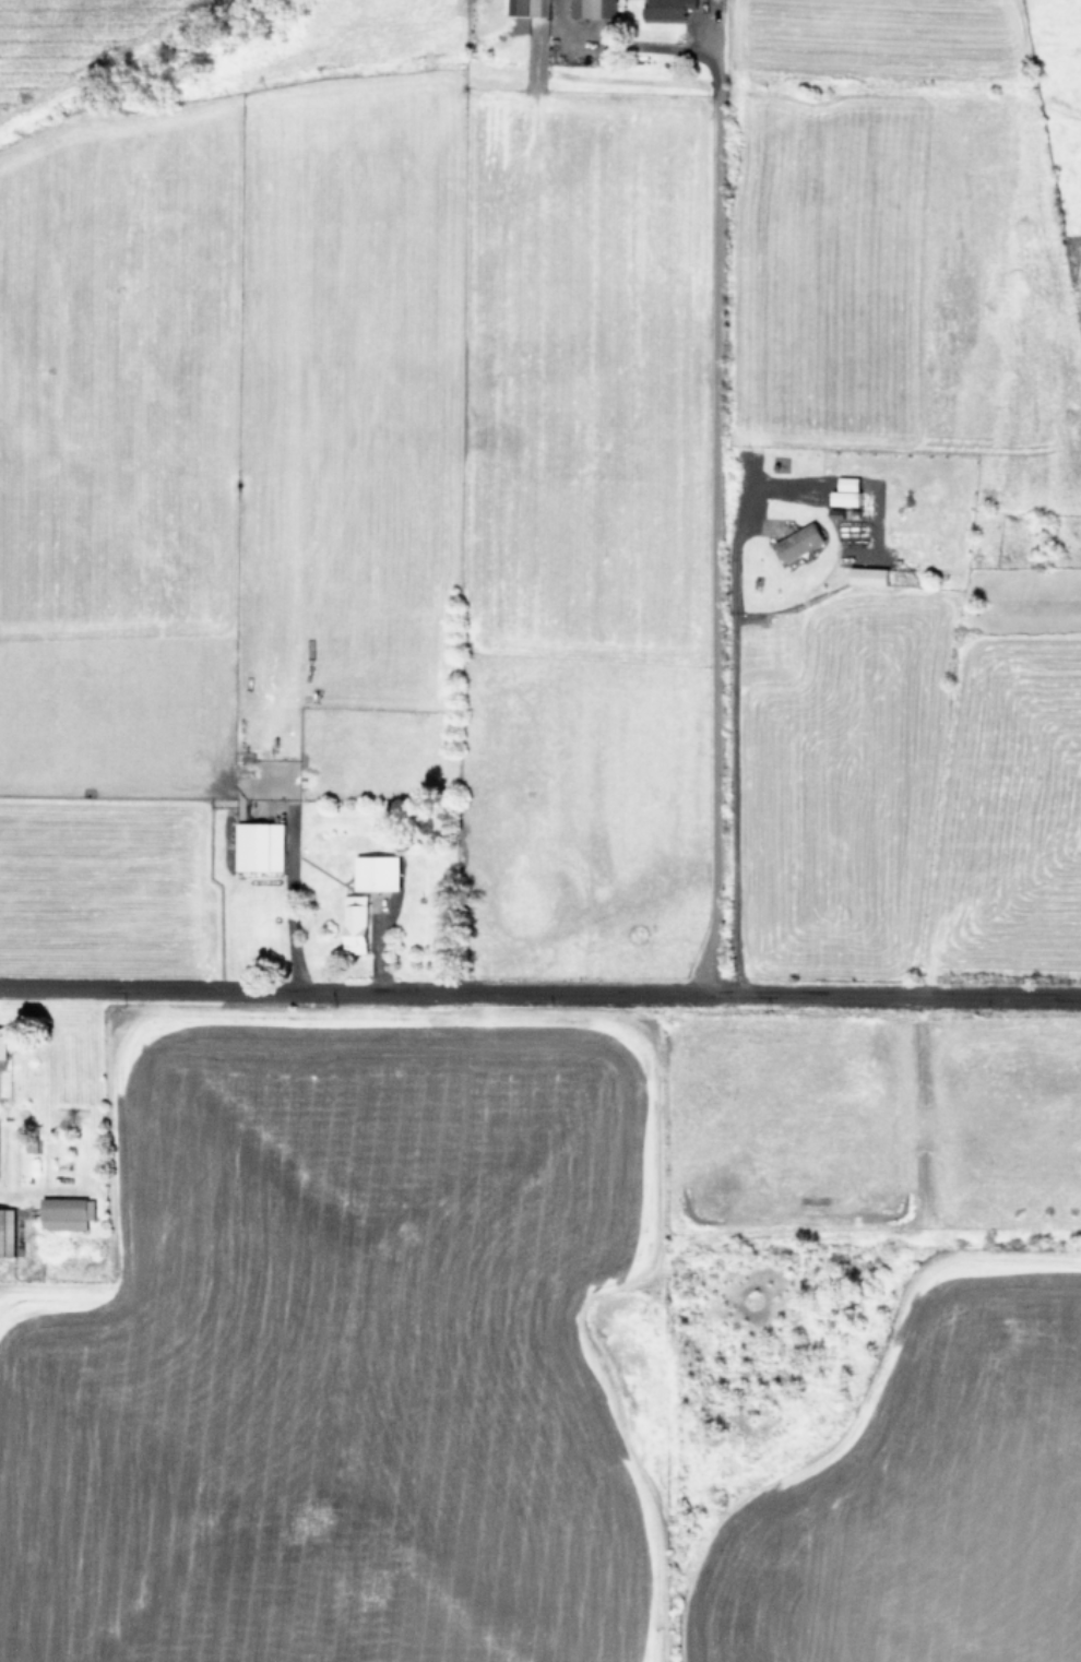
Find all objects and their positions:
building: (532, 8)
building: (596, 8)
building: (669, 9)
road: (714, 434)
building: (848, 491)
building: (800, 542)
building: (870, 575)
road: (729, 726)
crop: (540, 831)
building: (261, 846)
building: (380, 872)
building: (358, 924)
road: (540, 994)
building: (3, 1042)
building: (67, 1212)
building: (8, 1231)

